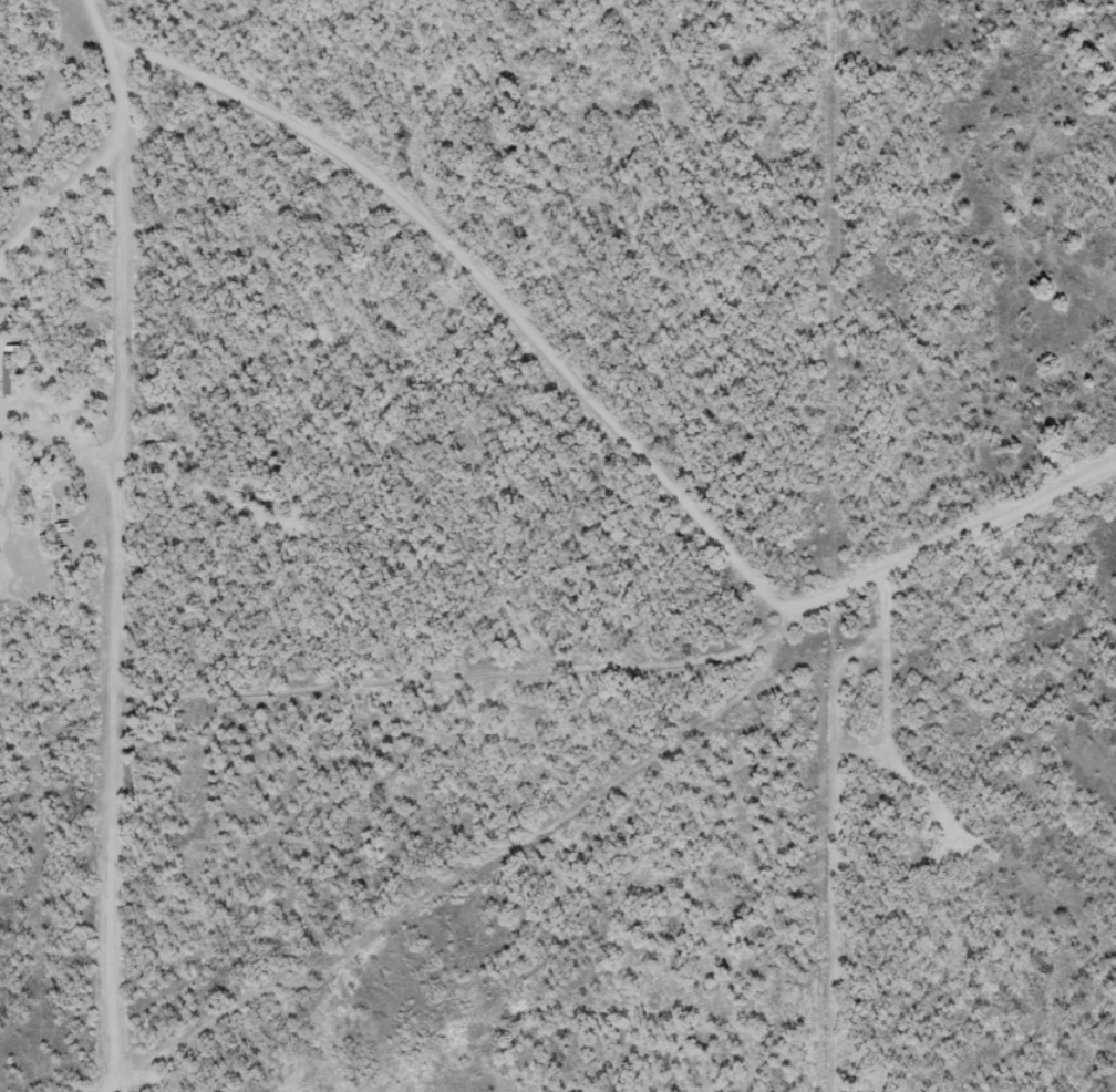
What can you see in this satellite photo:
road: (788, 530)

